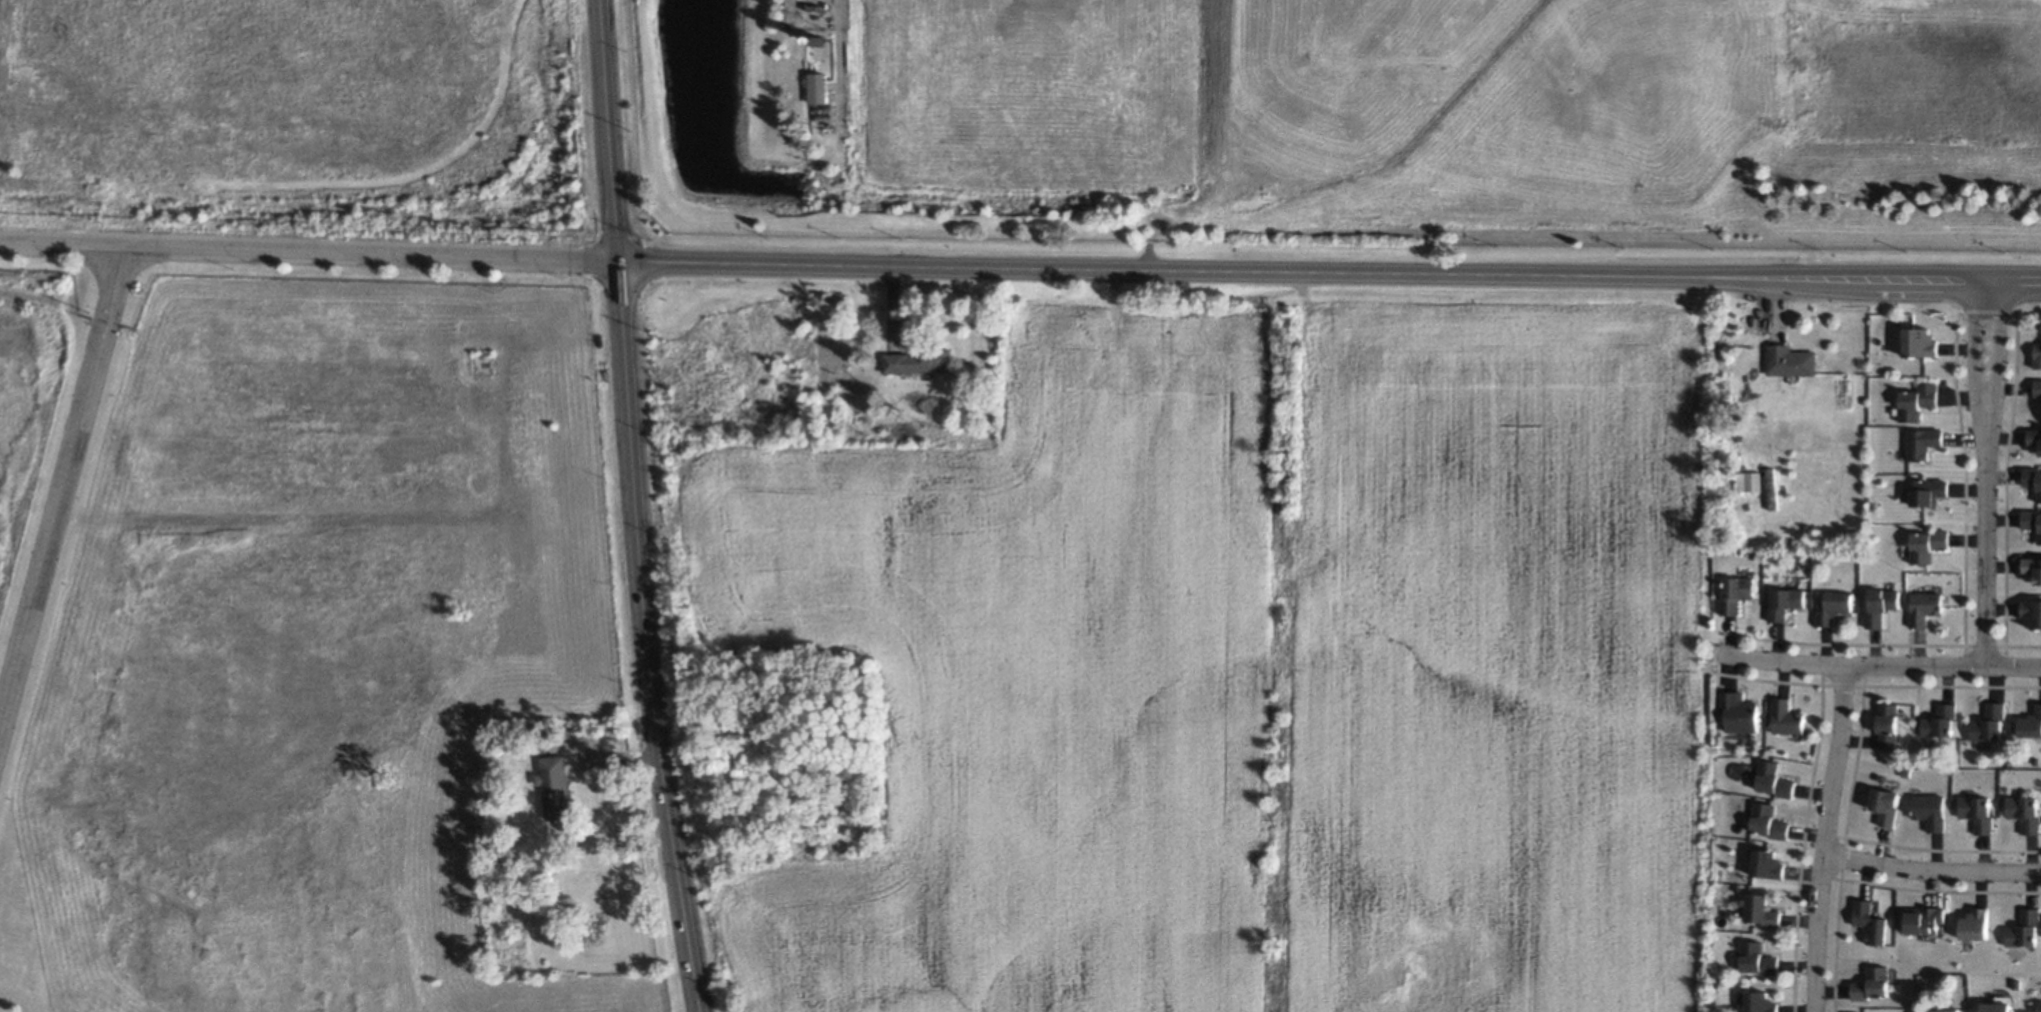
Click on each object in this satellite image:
road: (839, 52)
building: (818, 89)
landfill: (1495, 104)
road: (609, 129)
road: (1020, 267)
building: (1920, 342)
building: (2038, 356)
building: (1790, 360)
building: (919, 361)
building: (481, 362)
building: (2038, 388)
building: (1918, 401)
building: (2035, 438)
building: (1923, 442)
road: (1987, 474)
building: (2033, 479)
building: (1748, 481)
road: (61, 483)
building: (1928, 492)
building: (2032, 522)
building: (1926, 544)
building: (2032, 569)
building: (1734, 593)
building: (1784, 602)
building: (1880, 606)
building: (1831, 607)
building: (1924, 607)
building: (2031, 612)
road: (646, 636)
road: (1878, 667)
building: (1739, 712)
building: (1785, 717)
building: (1939, 721)
building: (1989, 723)
building: (2030, 723)
building: (1887, 725)
building: (1772, 779)
building: (554, 786)
building: (1885, 805)
building: (1930, 810)
building: (1977, 812)
building: (2024, 812)
building: (1766, 821)
road: (1825, 839)
building: (1766, 864)
road: (1931, 868)
building: (1760, 910)
building: (1923, 919)
building: (1869, 922)
building: (1974, 924)
building: (2024, 929)
building: (1755, 958)
building: (1871, 984)
building: (1759, 1002)
building: (1998, 1004)
building: (2039, 1006)
building: (1947, 1010)

